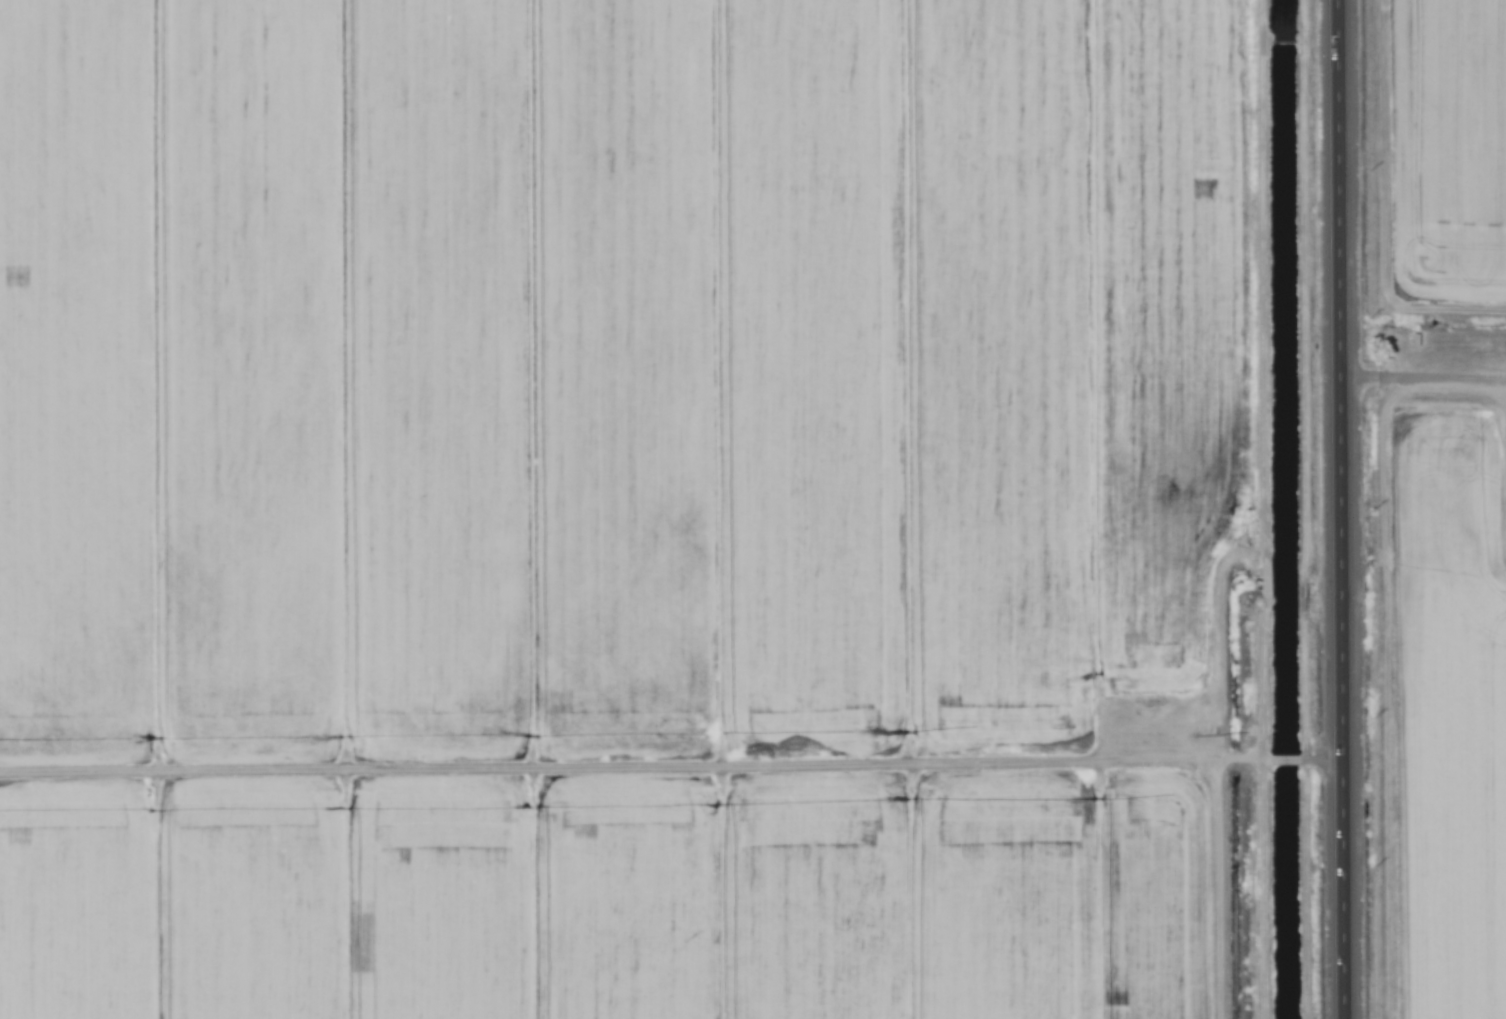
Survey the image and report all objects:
road: (1339, 509)

